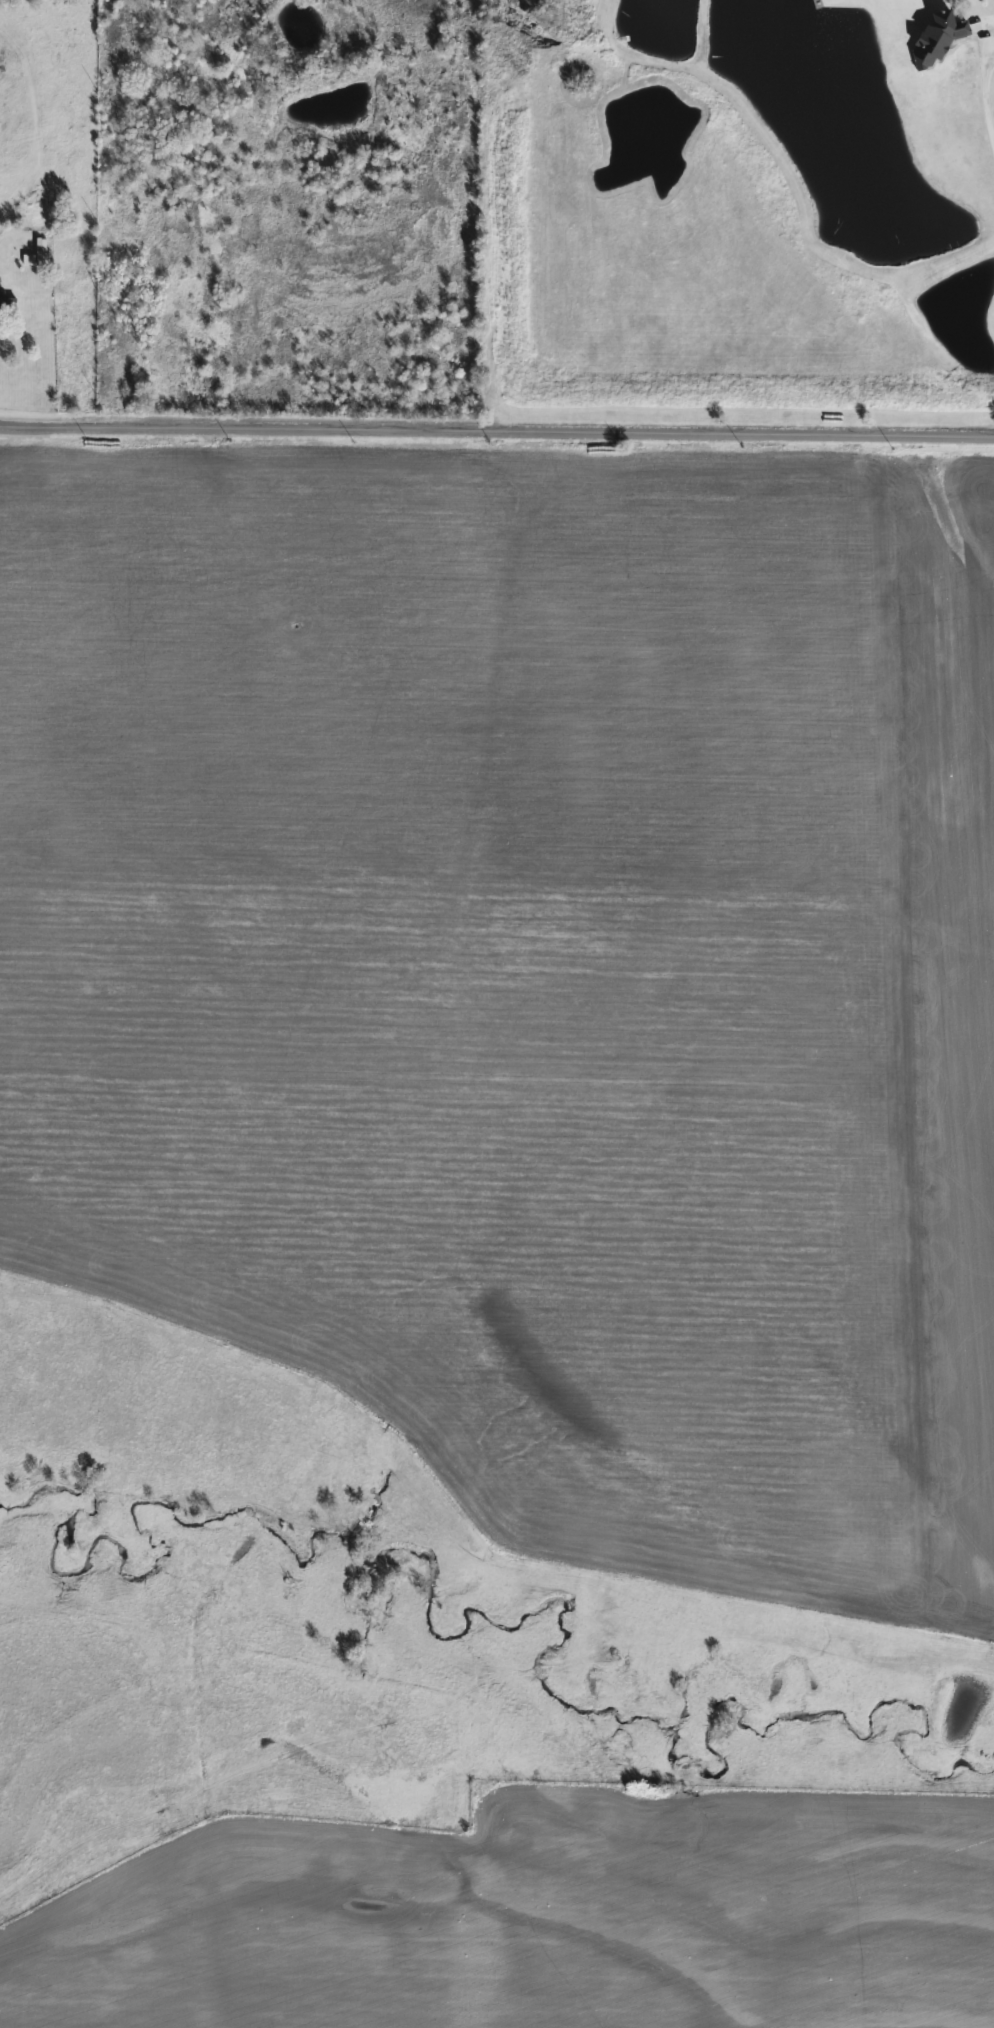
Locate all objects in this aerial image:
building: (934, 37)
road: (986, 99)
building: (33, 194)
building: (11, 303)
road: (496, 434)

